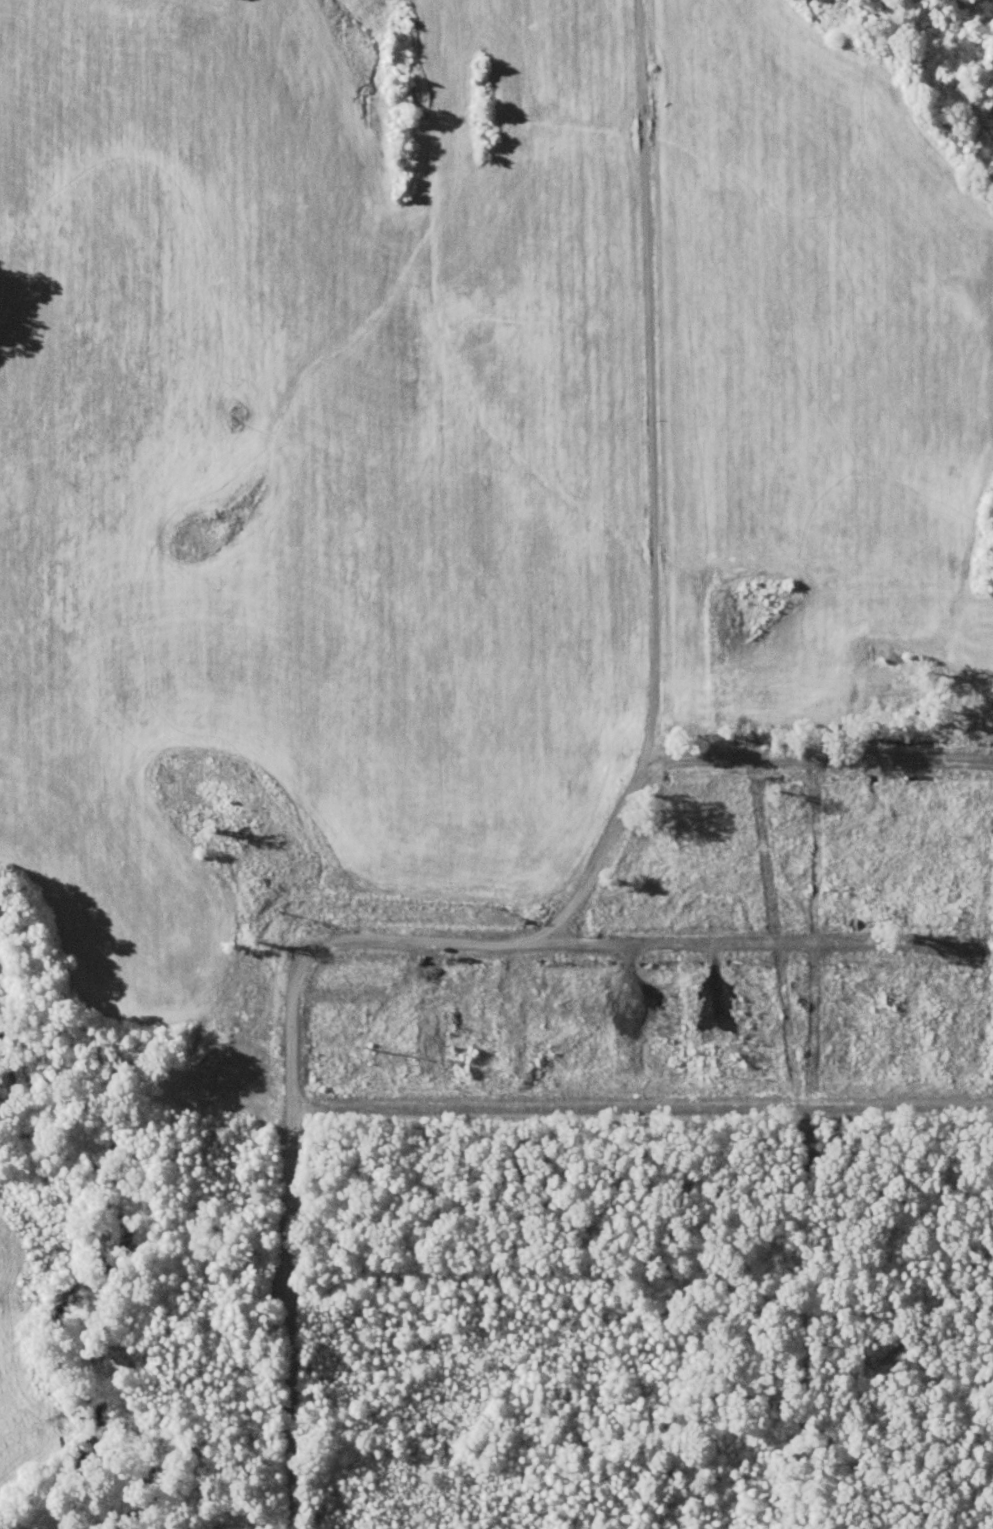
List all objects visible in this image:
road: (645, 380)
road: (407, 942)
road: (643, 1105)

